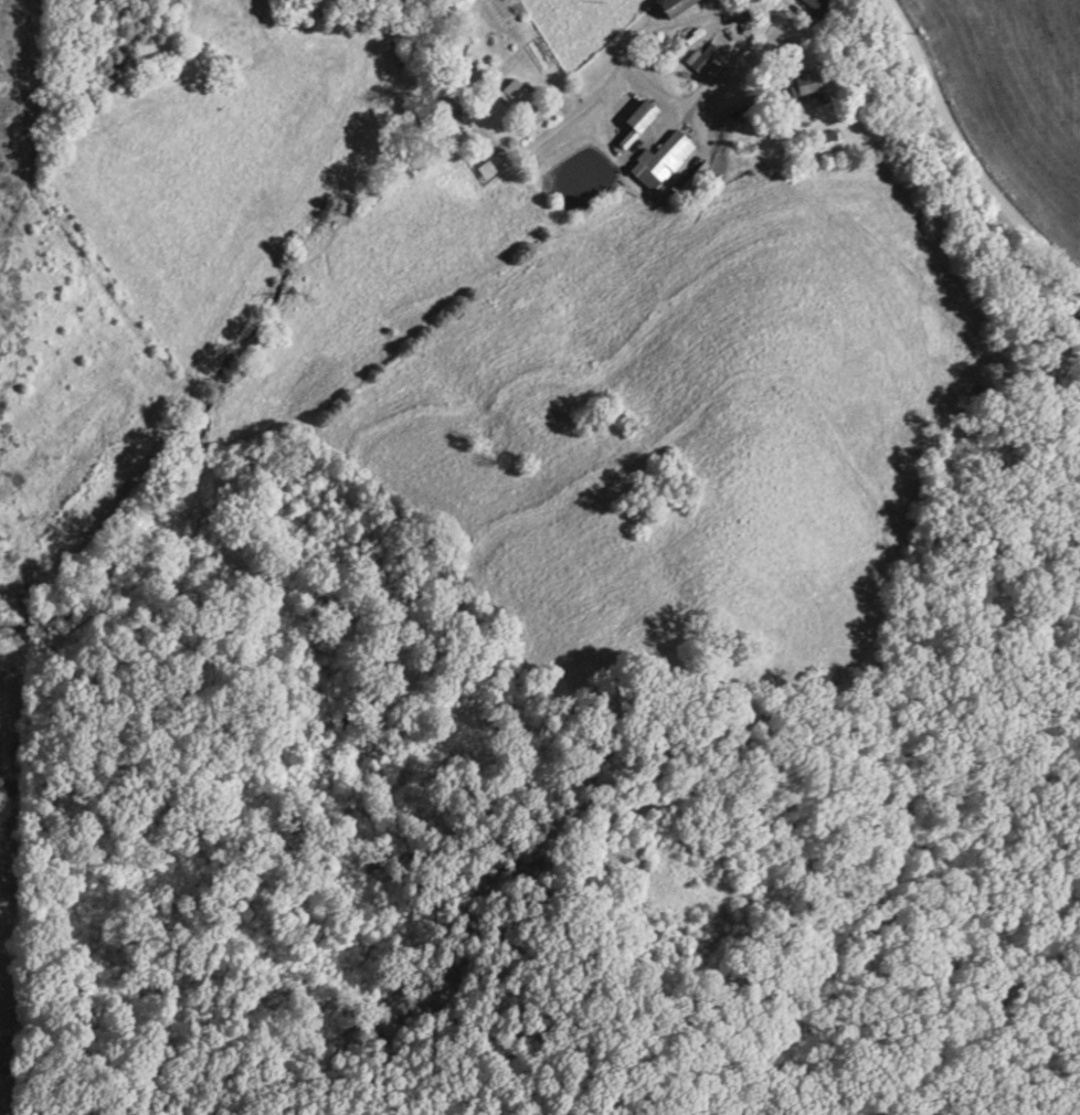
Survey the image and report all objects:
building: (674, 8)
building: (819, 9)
building: (801, 87)
building: (638, 124)
building: (462, 127)
road: (547, 140)
road: (484, 147)
road: (968, 153)
building: (660, 163)

